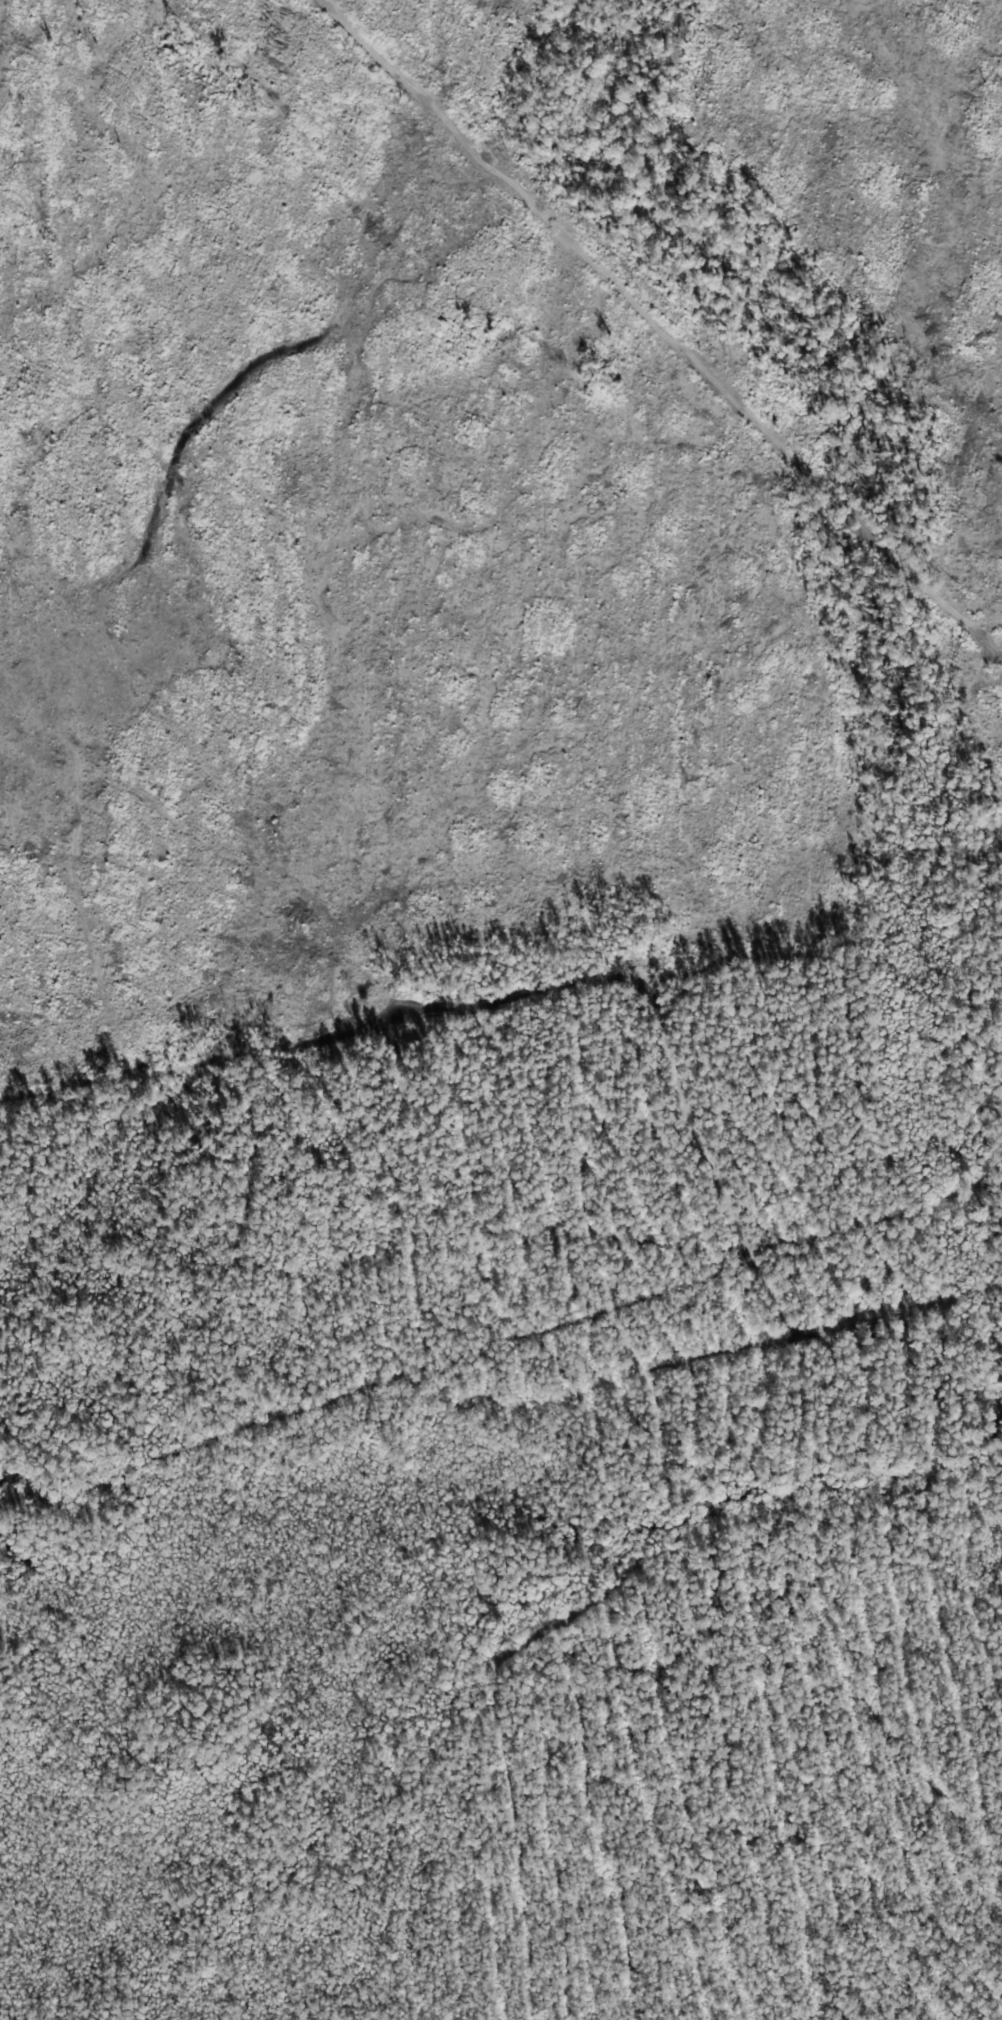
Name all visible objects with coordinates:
road: (501, 1342)

